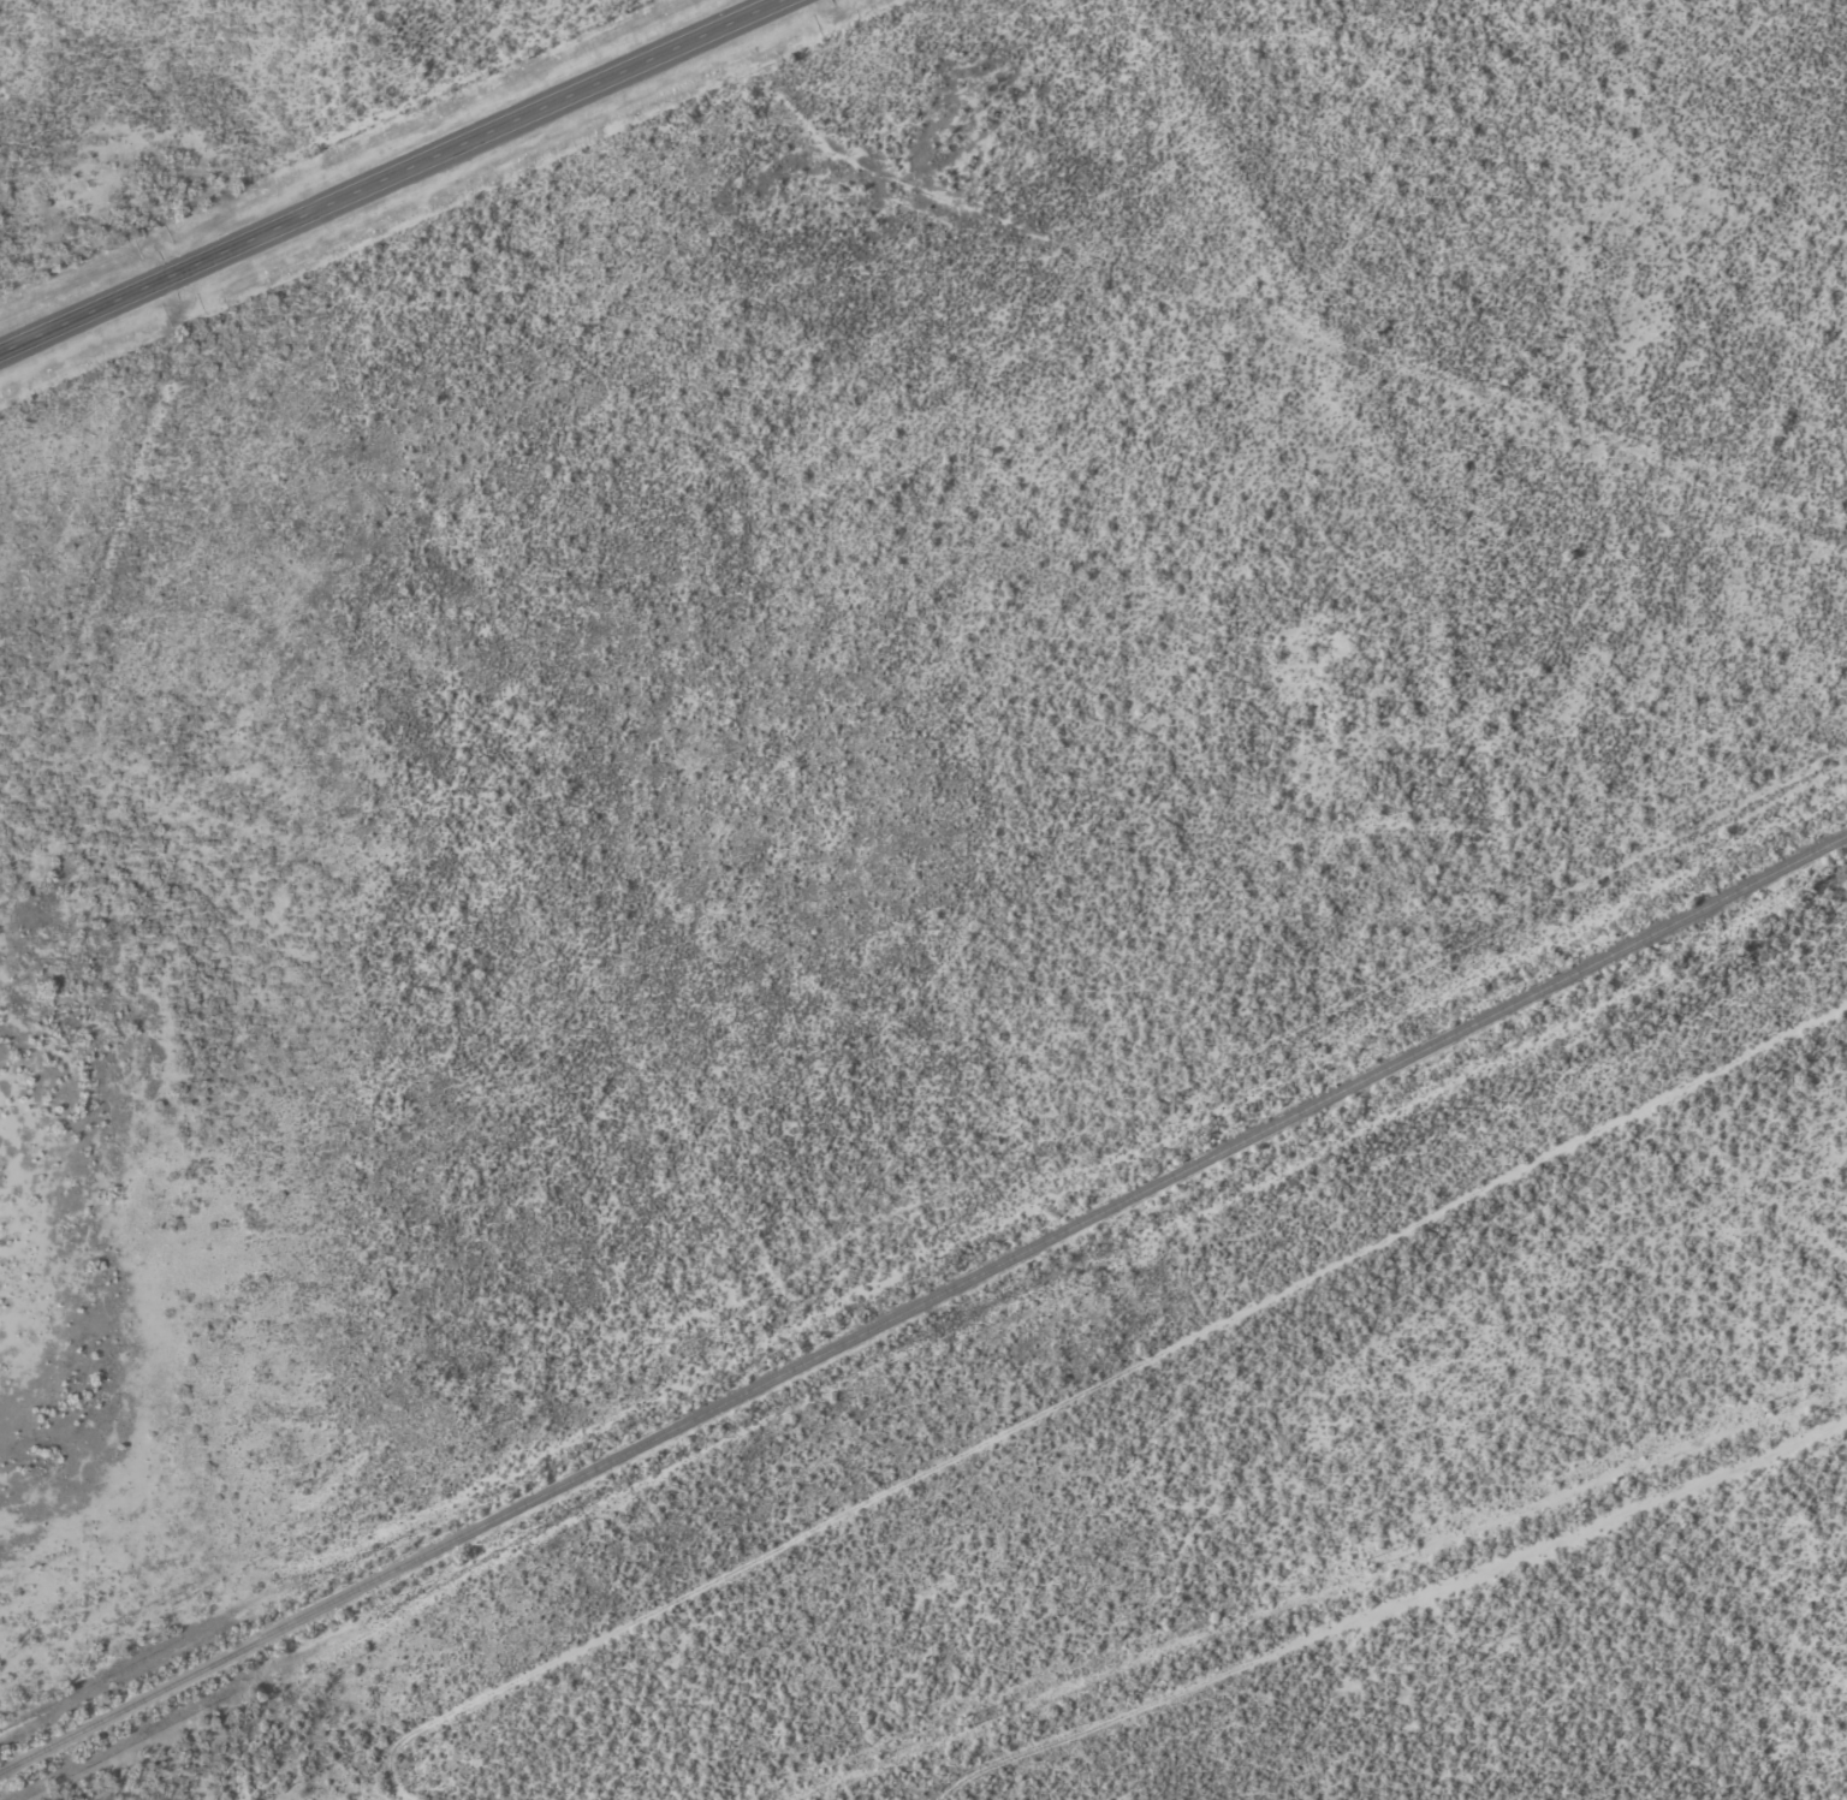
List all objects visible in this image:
road: (388, 177)
railway: (923, 1301)
power tower: (1768, 1407)
power tower: (1367, 1564)
power tower: (967, 1723)

